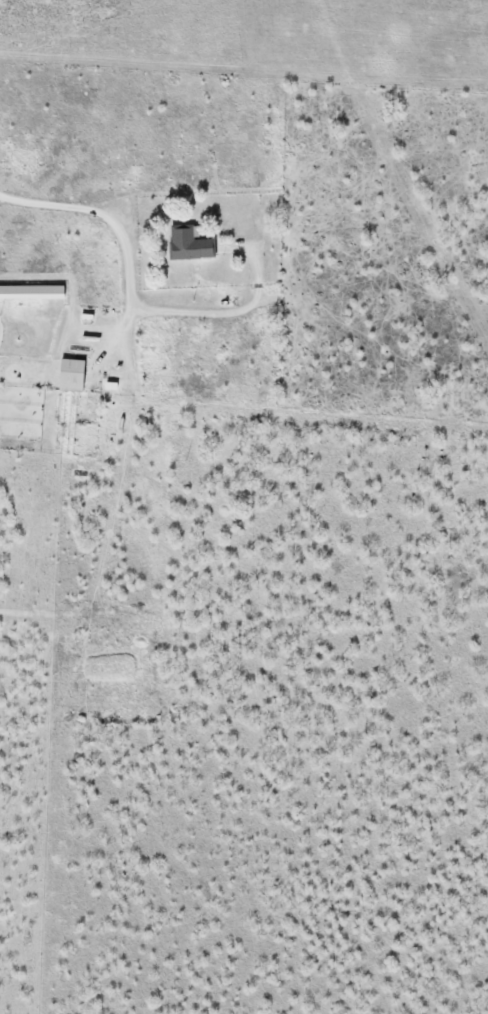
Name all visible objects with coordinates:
building: (186, 244)
building: (30, 292)
building: (67, 375)
building: (110, 657)

